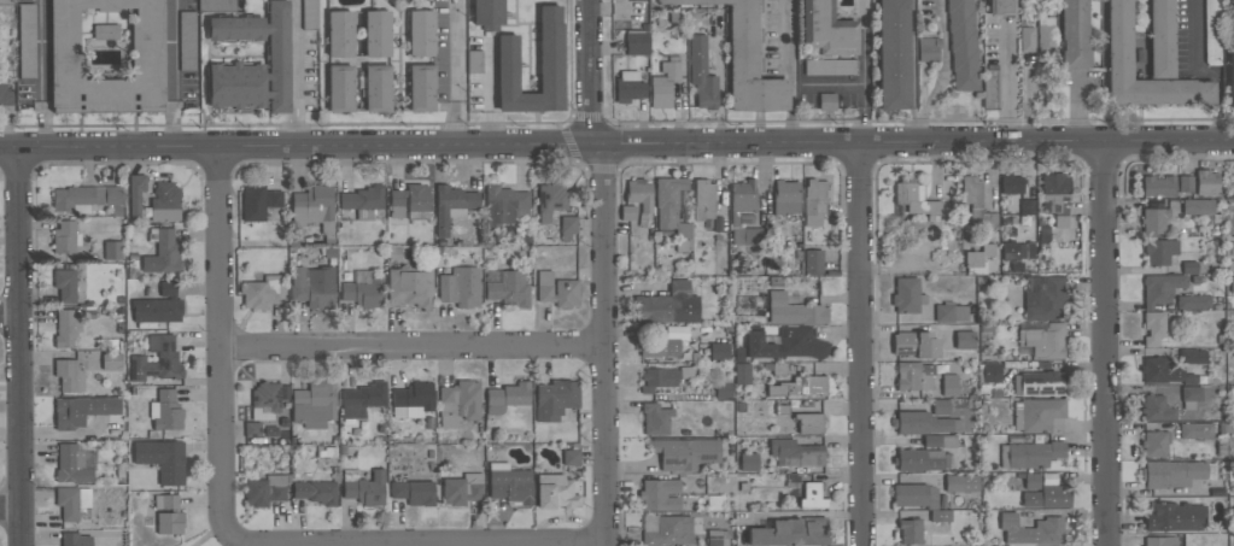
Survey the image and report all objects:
building: (631, 0)
building: (1229, 0)
building: (7, 1)
building: (216, 4)
building: (1000, 7)
building: (487, 12)
building: (309, 13)
building: (826, 29)
building: (339, 33)
building: (376, 33)
building: (421, 33)
building: (1211, 33)
building: (1074, 34)
building: (1046, 35)
building: (1027, 39)
building: (1118, 39)
building: (27, 40)
building: (186, 40)
building: (636, 42)
building: (146, 45)
building: (963, 45)
building: (928, 49)
building: (893, 54)
building: (745, 60)
building: (252, 61)
building: (474, 61)
building: (550, 63)
building: (830, 66)
road: (791, 69)
road: (862, 69)
road: (457, 71)
road: (1203, 71)
road: (172, 72)
building: (702, 72)
road: (943, 72)
road: (41, 74)
building: (1230, 80)
building: (663, 83)
road: (832, 83)
road: (1007, 84)
building: (628, 86)
building: (990, 86)
building: (340, 87)
building: (378, 87)
building: (421, 87)
building: (5, 93)
building: (826, 101)
road: (1077, 106)
road: (616, 142)
building: (1206, 182)
building: (1011, 183)
building: (1185, 183)
building: (1158, 184)
building: (135, 193)
building: (638, 193)
building: (785, 196)
building: (1055, 196)
building: (84, 198)
building: (742, 198)
building: (667, 199)
building: (703, 199)
building: (916, 199)
building: (258, 200)
building: (363, 200)
building: (550, 200)
building: (164, 201)
building: (410, 201)
building: (814, 201)
building: (976, 202)
building: (504, 204)
building: (451, 205)
building: (1198, 205)
building: (1027, 206)
building: (314, 207)
building: (627, 212)
building: (1153, 219)
building: (567, 227)
building: (683, 230)
building: (747, 235)
building: (65, 236)
building: (112, 249)
building: (1012, 249)
building: (1159, 249)
building: (163, 252)
building: (977, 258)
building: (813, 260)
building: (1188, 266)
road: (606, 271)
building: (65, 283)
building: (1232, 283)
building: (312, 286)
building: (409, 286)
building: (460, 286)
building: (509, 288)
building: (1159, 288)
building: (556, 289)
building: (262, 290)
building: (363, 292)
building: (905, 294)
building: (1042, 297)
building: (1193, 301)
building: (158, 305)
building: (667, 305)
building: (794, 310)
building: (943, 312)
road: (10, 315)
building: (1153, 327)
building: (64, 328)
building: (1042, 337)
building: (964, 339)
road: (861, 342)
building: (788, 344)
road: (1107, 344)
road: (221, 345)
building: (914, 345)
road: (414, 346)
road: (21, 347)
building: (657, 347)
building: (719, 351)
building: (1192, 356)
building: (168, 357)
building: (111, 360)
building: (988, 371)
building: (1163, 371)
building: (742, 372)
building: (69, 375)
building: (913, 375)
building: (663, 376)
building: (1040, 383)
building: (949, 384)
building: (799, 386)
building: (723, 389)
building: (1195, 394)
building: (507, 397)
building: (362, 398)
building: (555, 398)
building: (413, 399)
building: (264, 400)
building: (458, 401)
building: (312, 404)
building: (940, 406)
building: (782, 409)
building: (1156, 409)
building: (81, 410)
building: (165, 410)
building: (1036, 413)
building: (655, 418)
building: (809, 422)
building: (923, 422)
building: (252, 429)
building: (1195, 429)
building: (938, 440)
building: (1154, 442)
building: (684, 452)
building: (795, 452)
building: (1030, 453)
building: (571, 456)
building: (162, 458)
building: (918, 459)
building: (748, 460)
building: (74, 463)
building: (1171, 472)
building: (1031, 480)
building: (509, 482)
building: (961, 482)
building: (363, 486)
building: (462, 488)
building: (264, 489)
building: (413, 491)
building: (555, 491)
building: (315, 492)
building: (659, 494)
building: (812, 494)
building: (914, 494)
building: (1047, 497)
building: (71, 500)
road: (11, 509)
building: (169, 515)
building: (940, 515)
building: (1175, 516)
building: (666, 529)
building: (1031, 529)
building: (910, 530)
building: (790, 532)
building: (717, 538)
building: (75, 539)
building: (1160, 541)
road: (464, 544)

